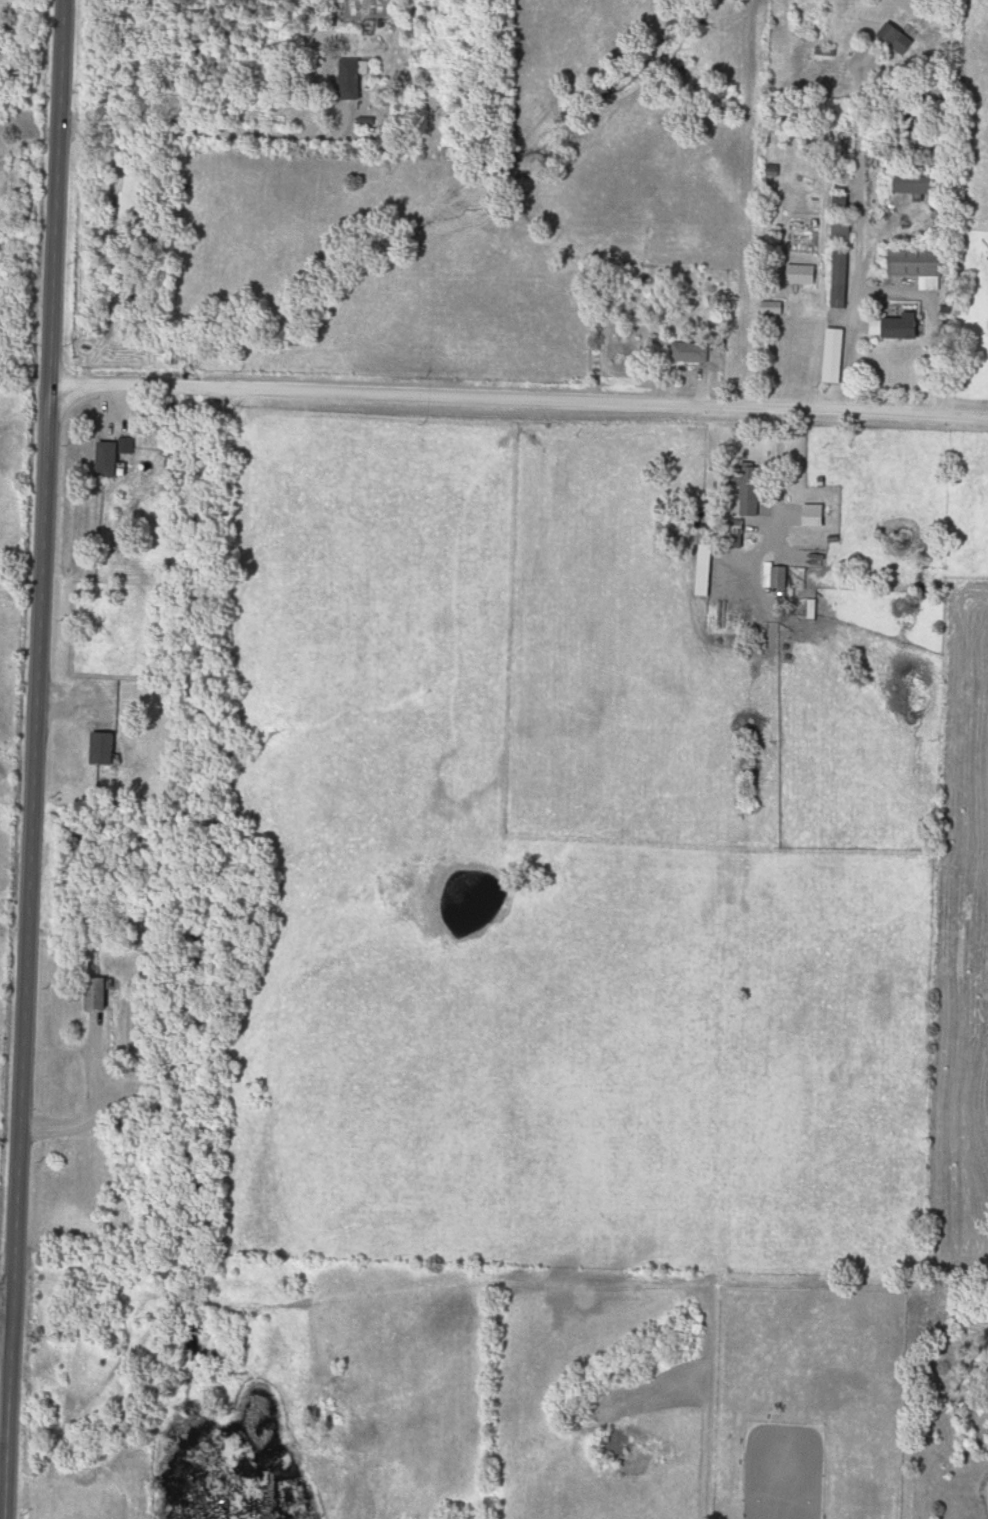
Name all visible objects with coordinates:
building: (355, 79)
road: (237, 134)
road: (859, 173)
building: (917, 184)
building: (135, 197)
building: (842, 231)
building: (923, 265)
building: (803, 278)
building: (845, 280)
road: (895, 293)
building: (898, 329)
building: (838, 356)
road: (517, 402)
building: (113, 459)
road: (778, 471)
building: (820, 515)
building: (778, 576)
building: (709, 580)
building: (109, 749)
road: (32, 759)
building: (102, 995)
road: (5, 1298)

